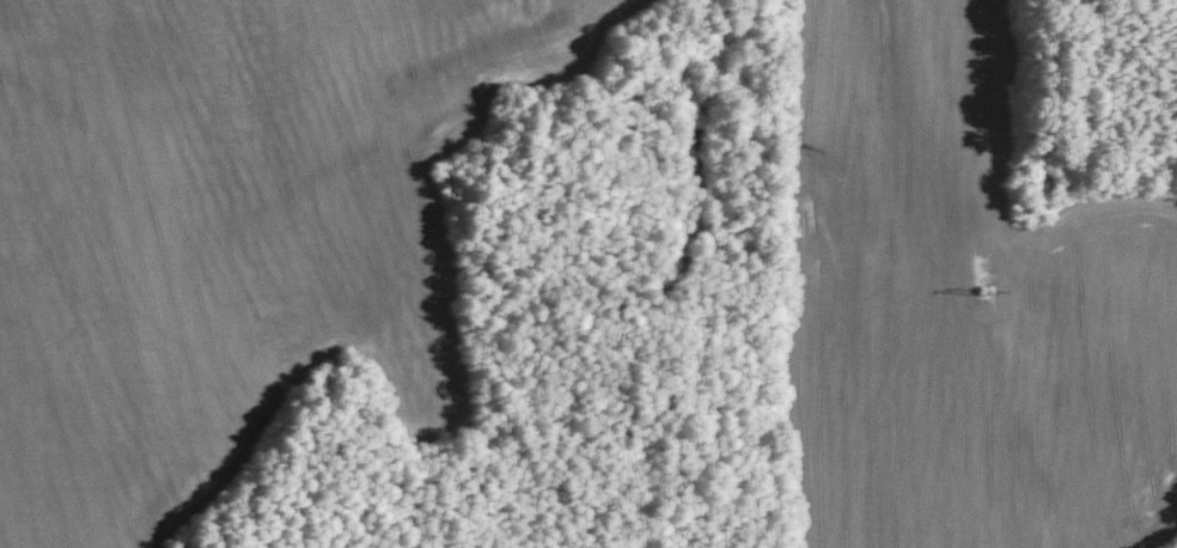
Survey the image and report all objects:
power tower: (988, 291)

